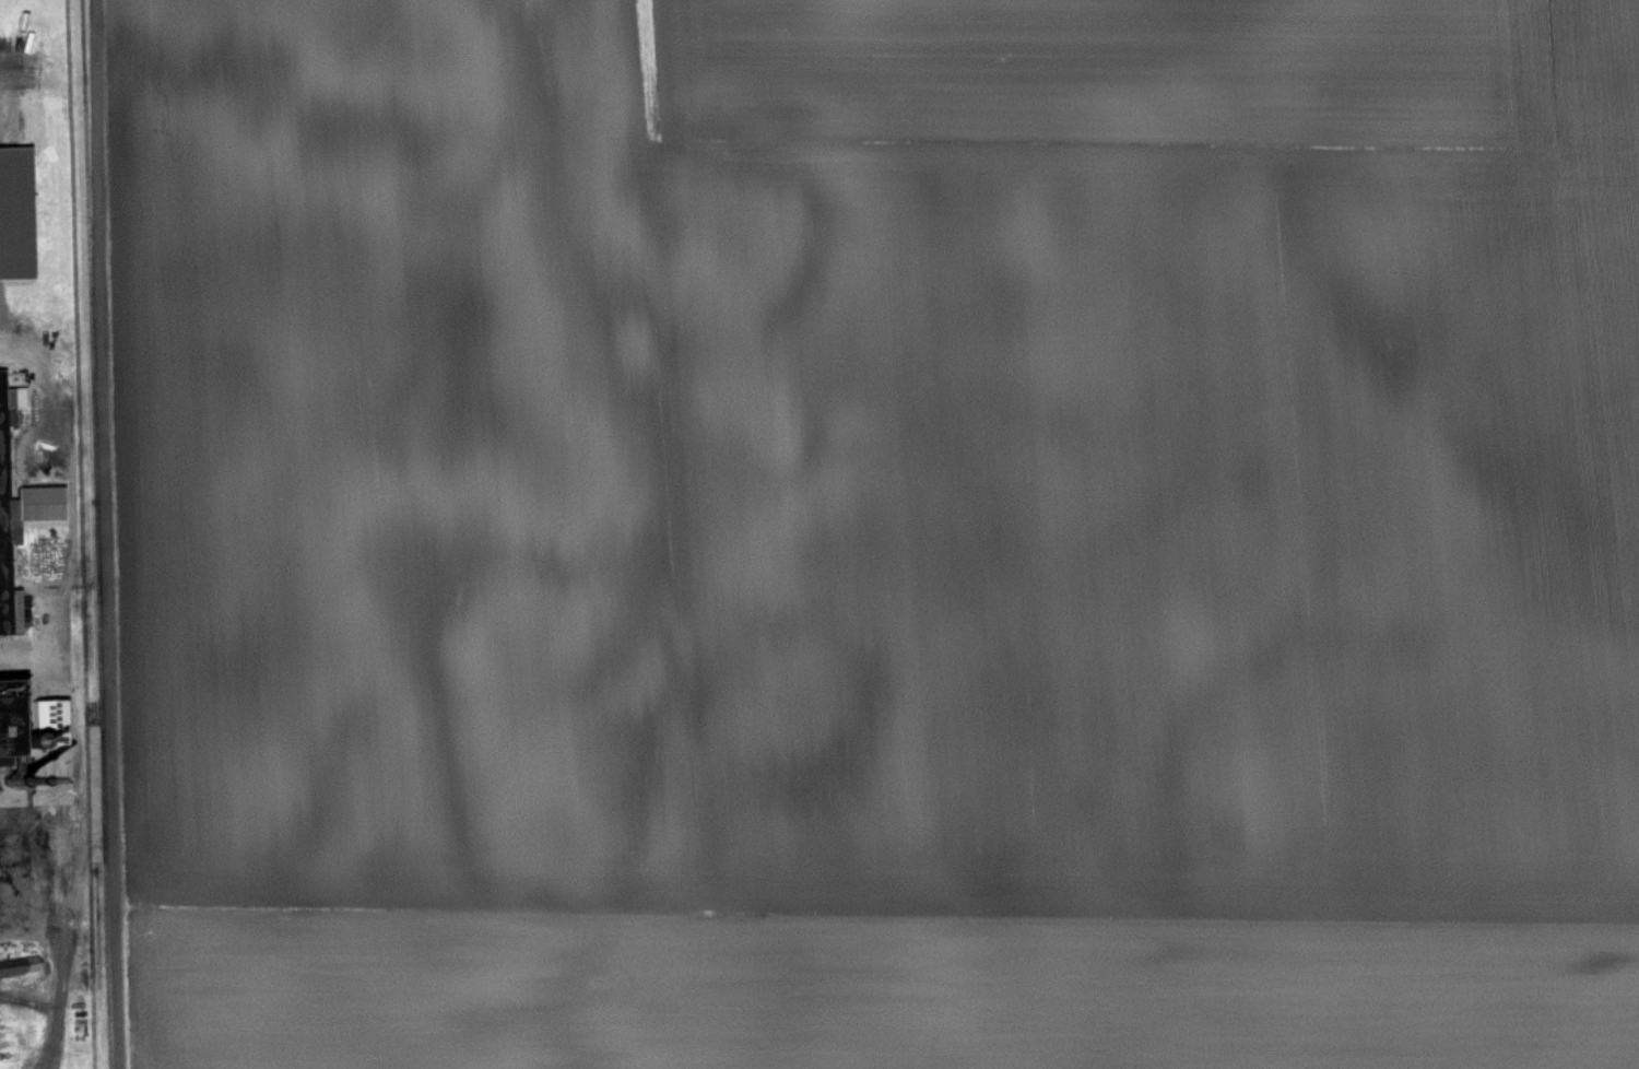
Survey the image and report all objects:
road: (17, 87)
building: (15, 213)
building: (37, 503)
road: (103, 534)
building: (19, 966)
building: (19, 1043)

